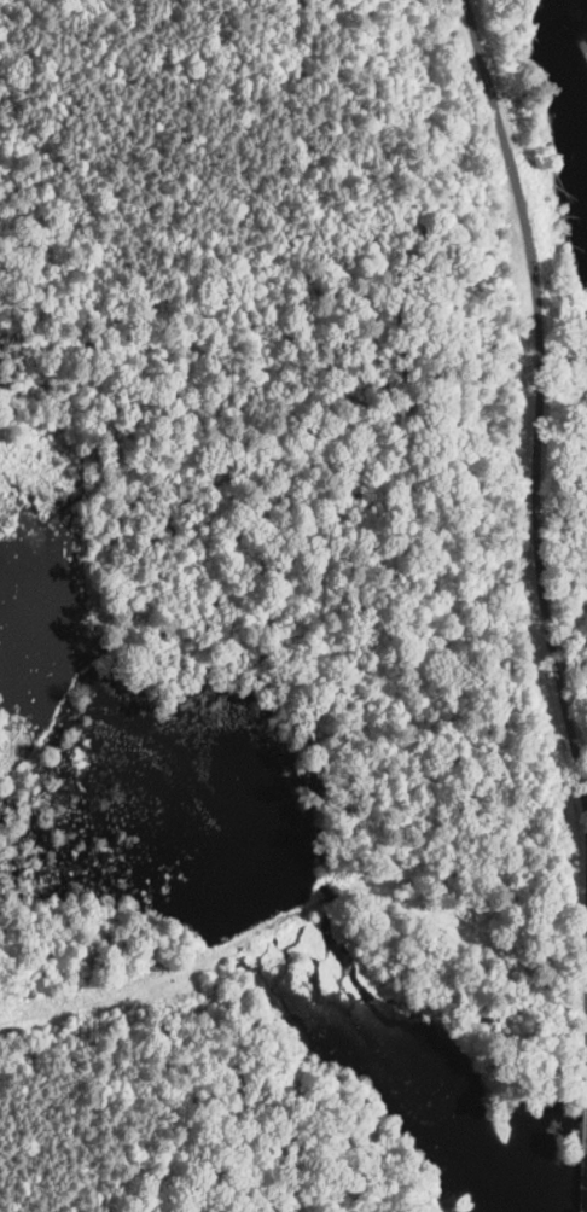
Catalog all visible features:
river: (583, 29)
road: (535, 408)
park: (52, 606)
road: (583, 1154)

